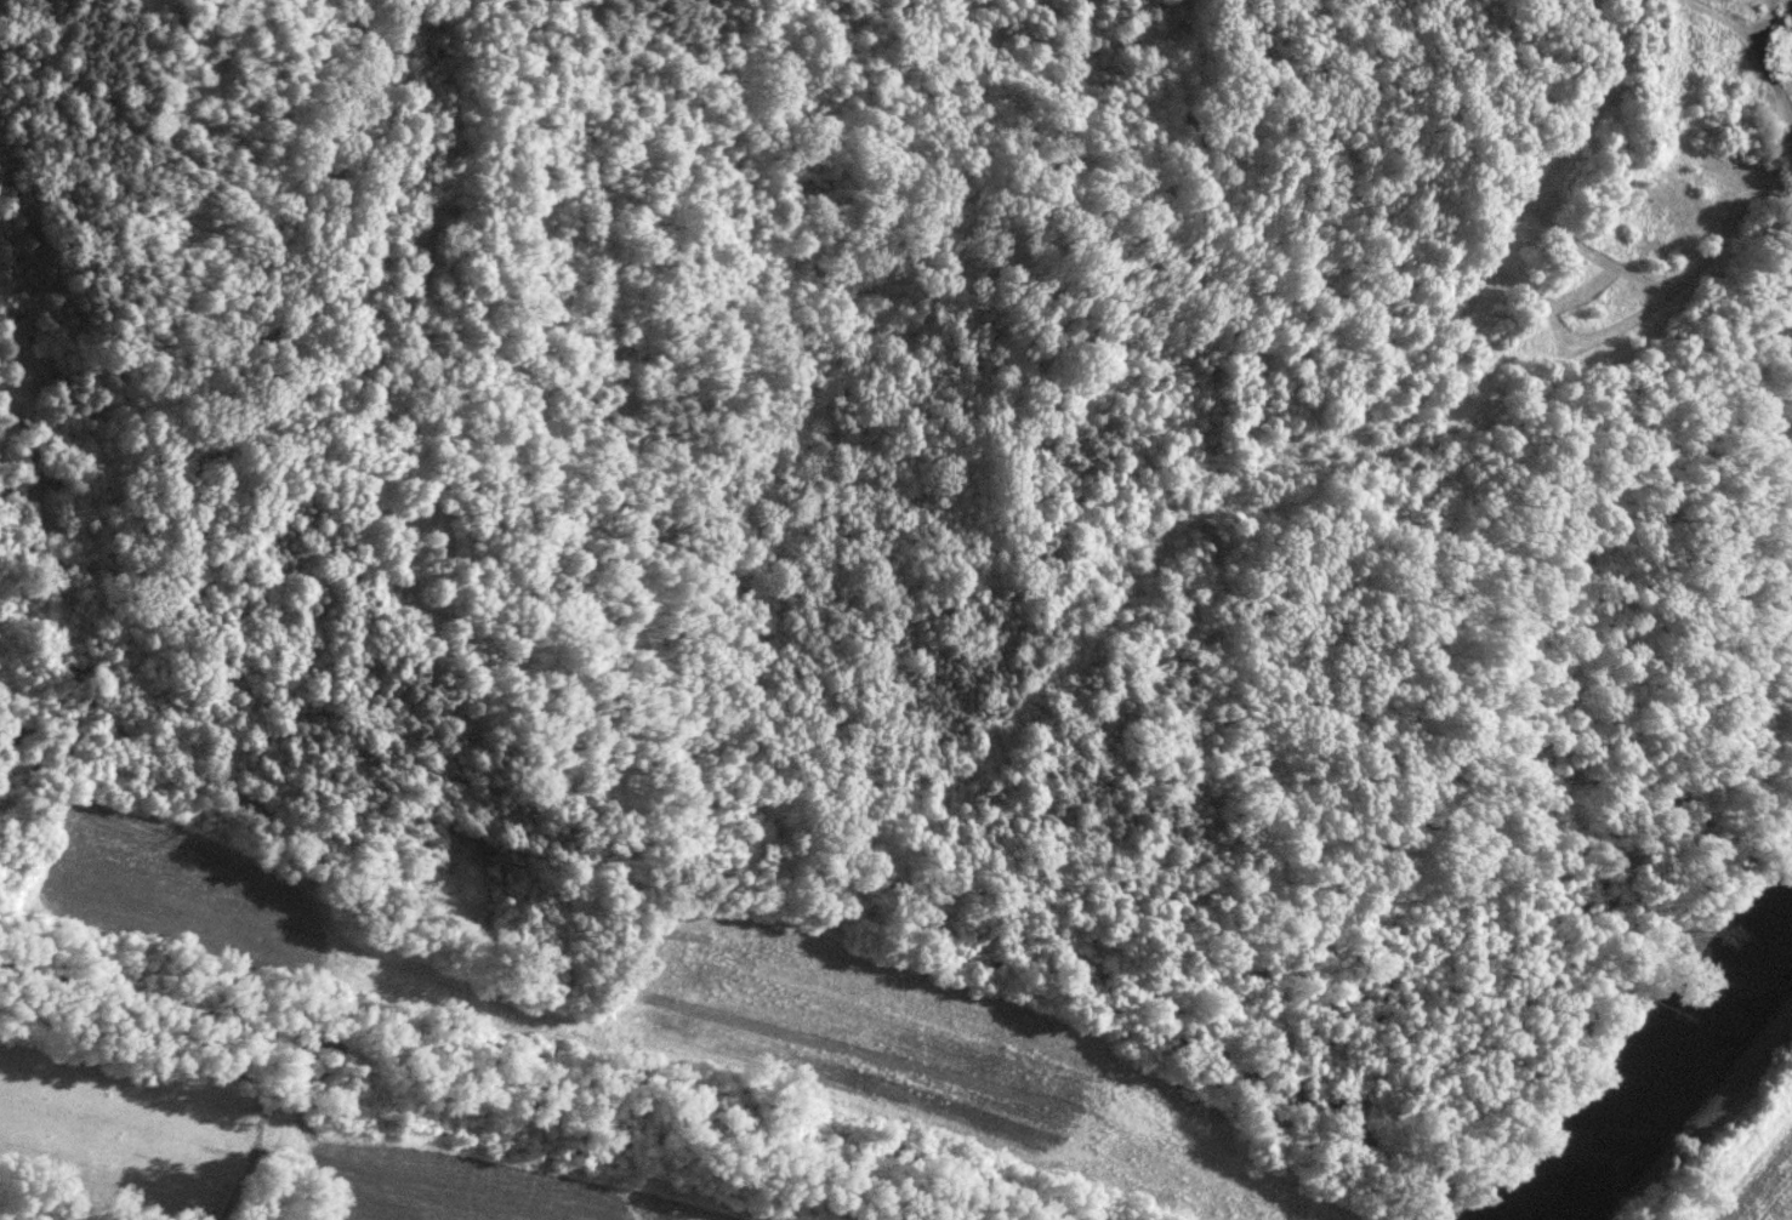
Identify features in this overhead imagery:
road: (484, 1076)
river: (1665, 1076)
crop: (1769, 1188)

